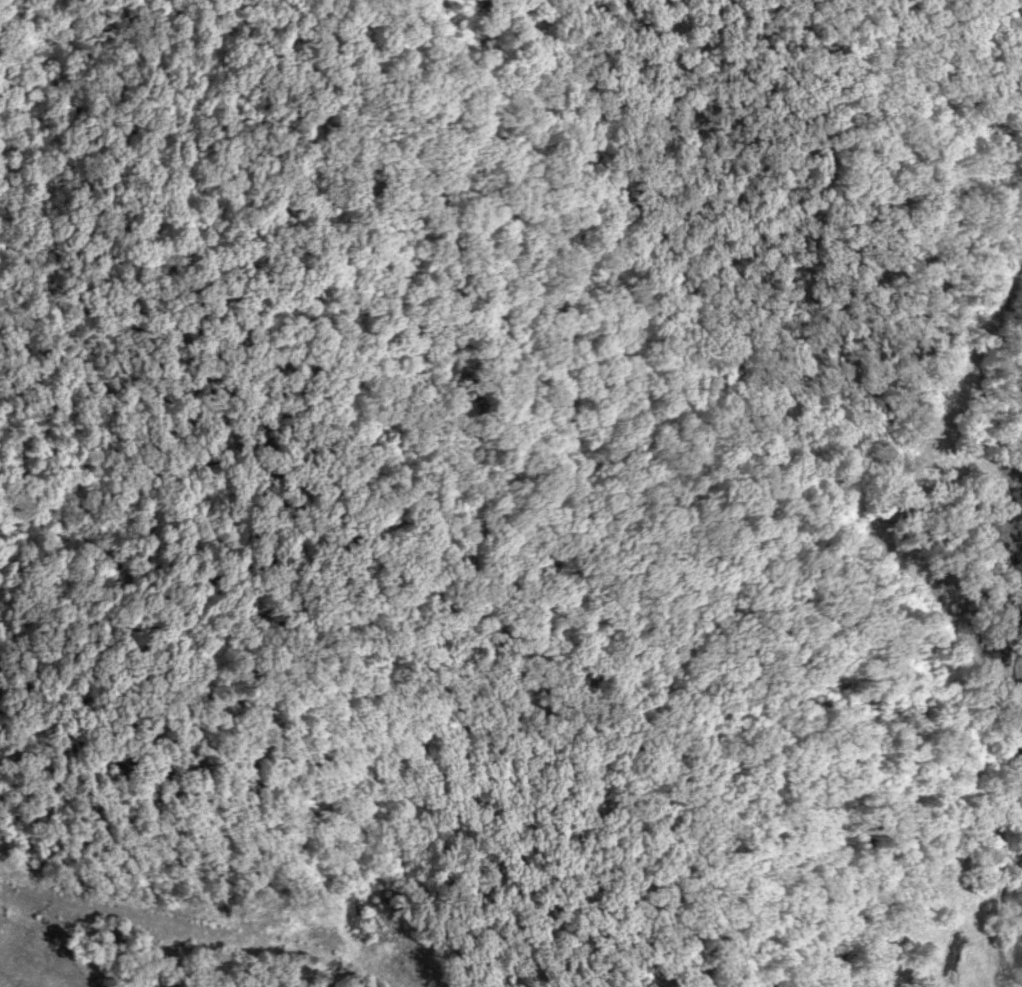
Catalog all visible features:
building: (1015, 882)

